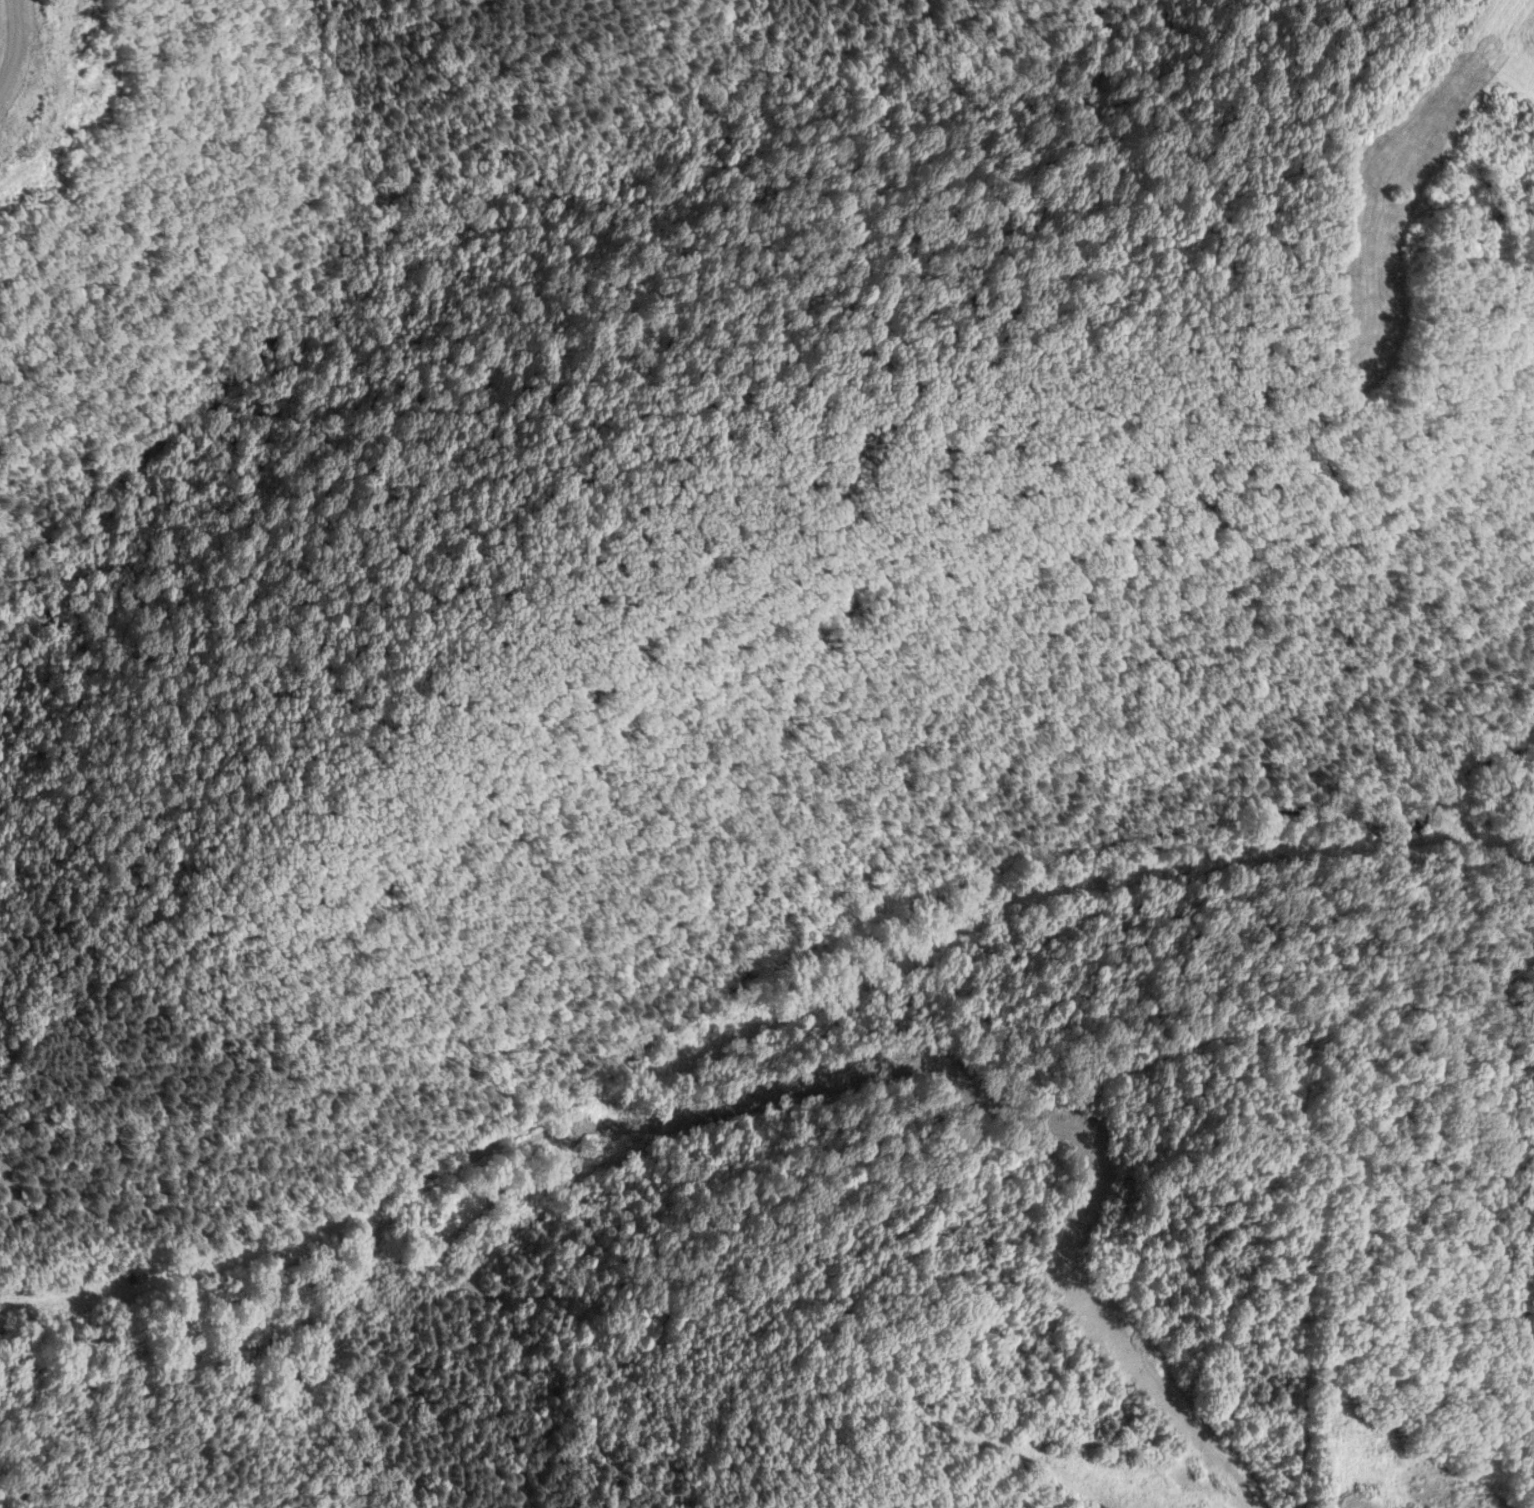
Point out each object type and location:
road: (14, 43)

